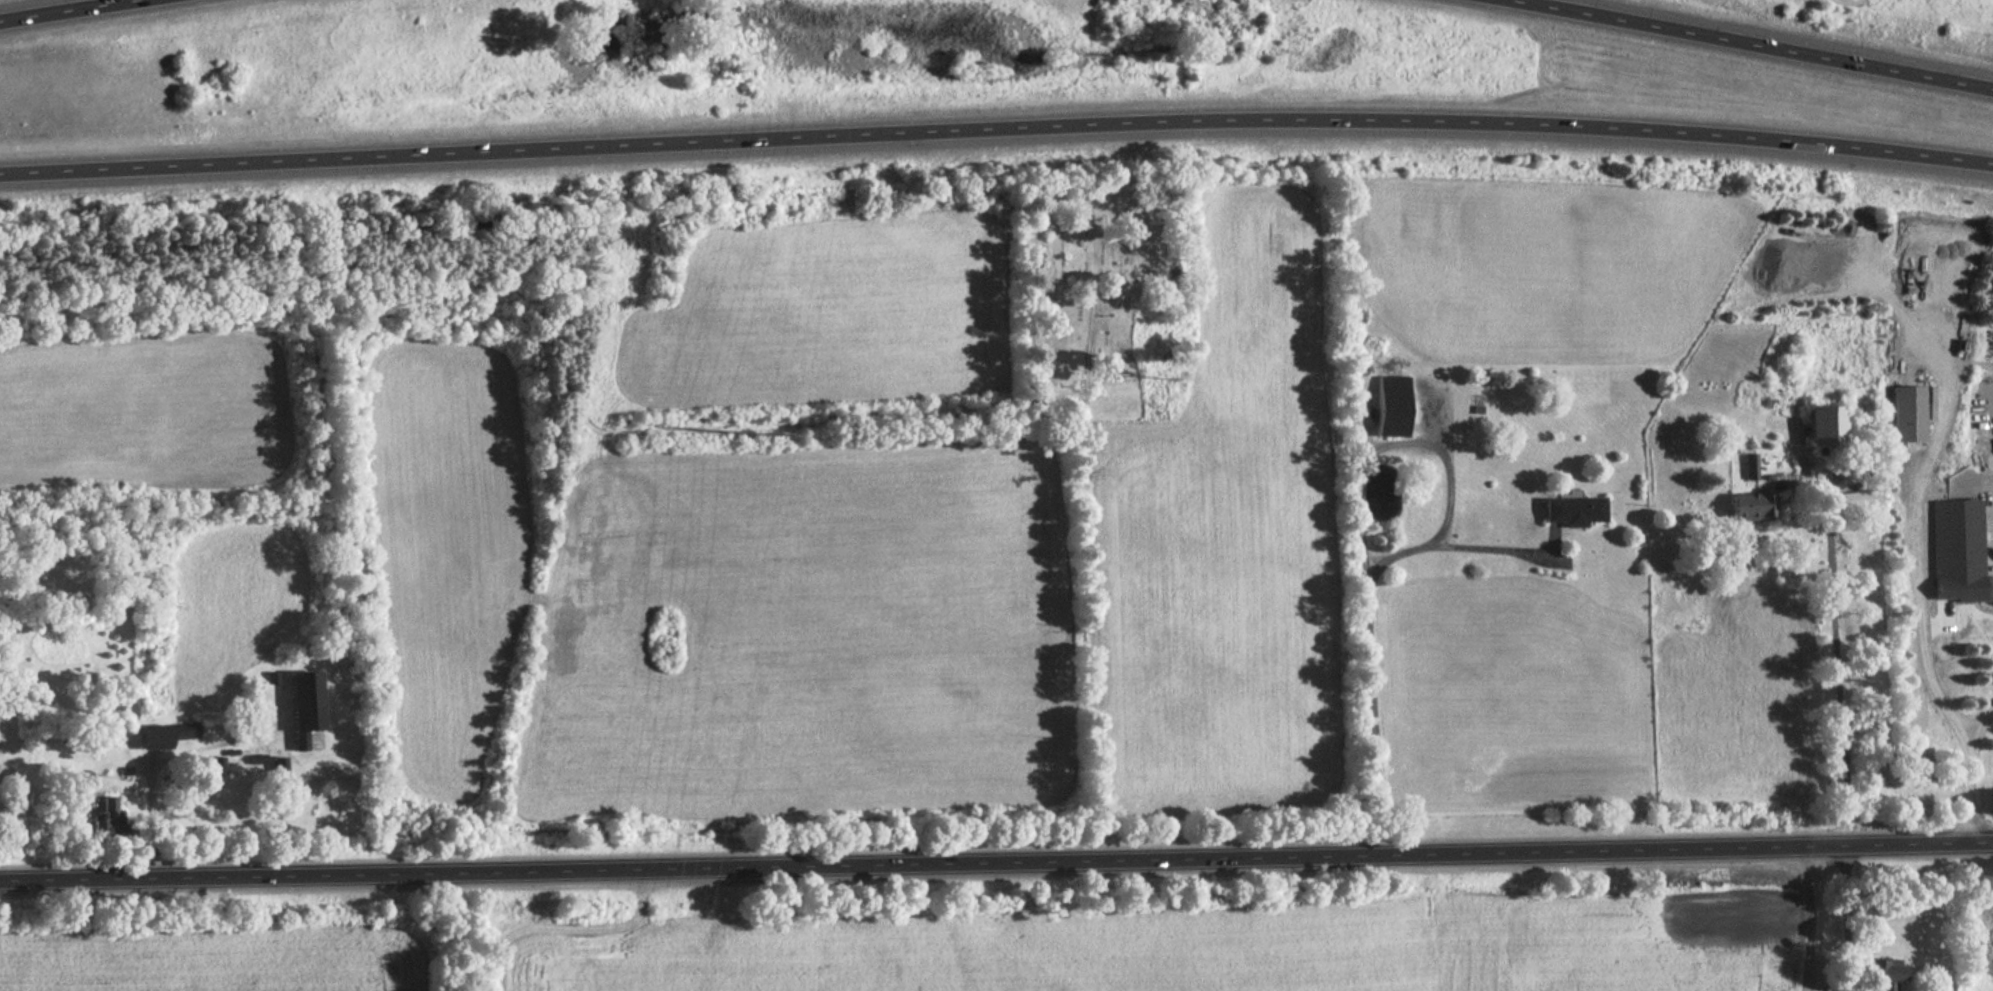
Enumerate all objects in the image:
road: (58, 9)
road: (1753, 43)
road: (996, 125)
park: (1097, 297)
building: (1387, 406)
building: (1902, 414)
building: (1818, 426)
power tower: (761, 452)
building: (1851, 501)
building: (1743, 506)
building: (1569, 511)
road: (1361, 527)
road: (1490, 549)
road: (1089, 578)
road: (1835, 656)
road: (1920, 659)
building: (299, 699)
building: (160, 736)
building: (217, 764)
building: (103, 821)
building: (945, 829)
road: (996, 862)
road: (1814, 917)
road: (1844, 917)
crop: (1180, 951)
crop: (1984, 951)
building: (1877, 974)

